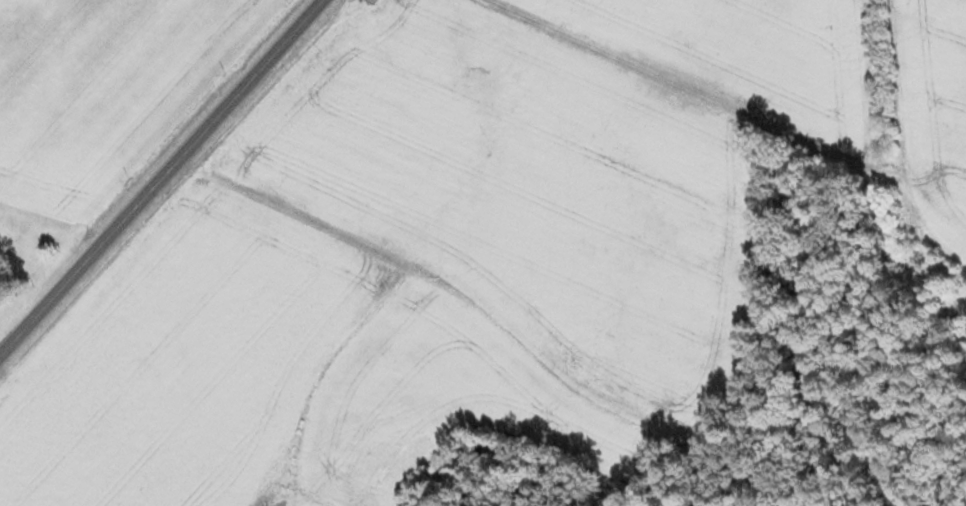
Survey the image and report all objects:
power tower: (223, 77)
road: (162, 178)
power tower: (33, 284)

